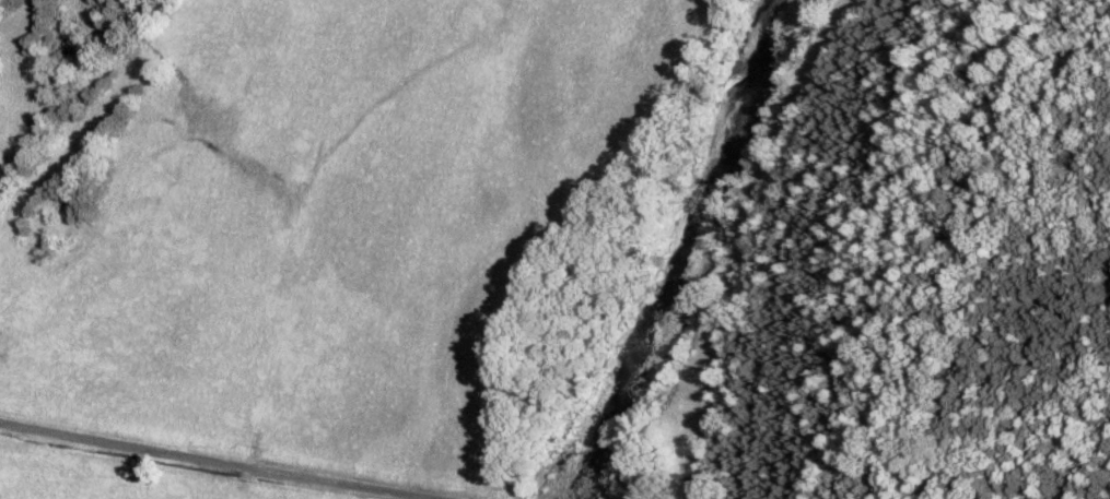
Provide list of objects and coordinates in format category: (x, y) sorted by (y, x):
road: (758, 243)
road: (238, 460)

